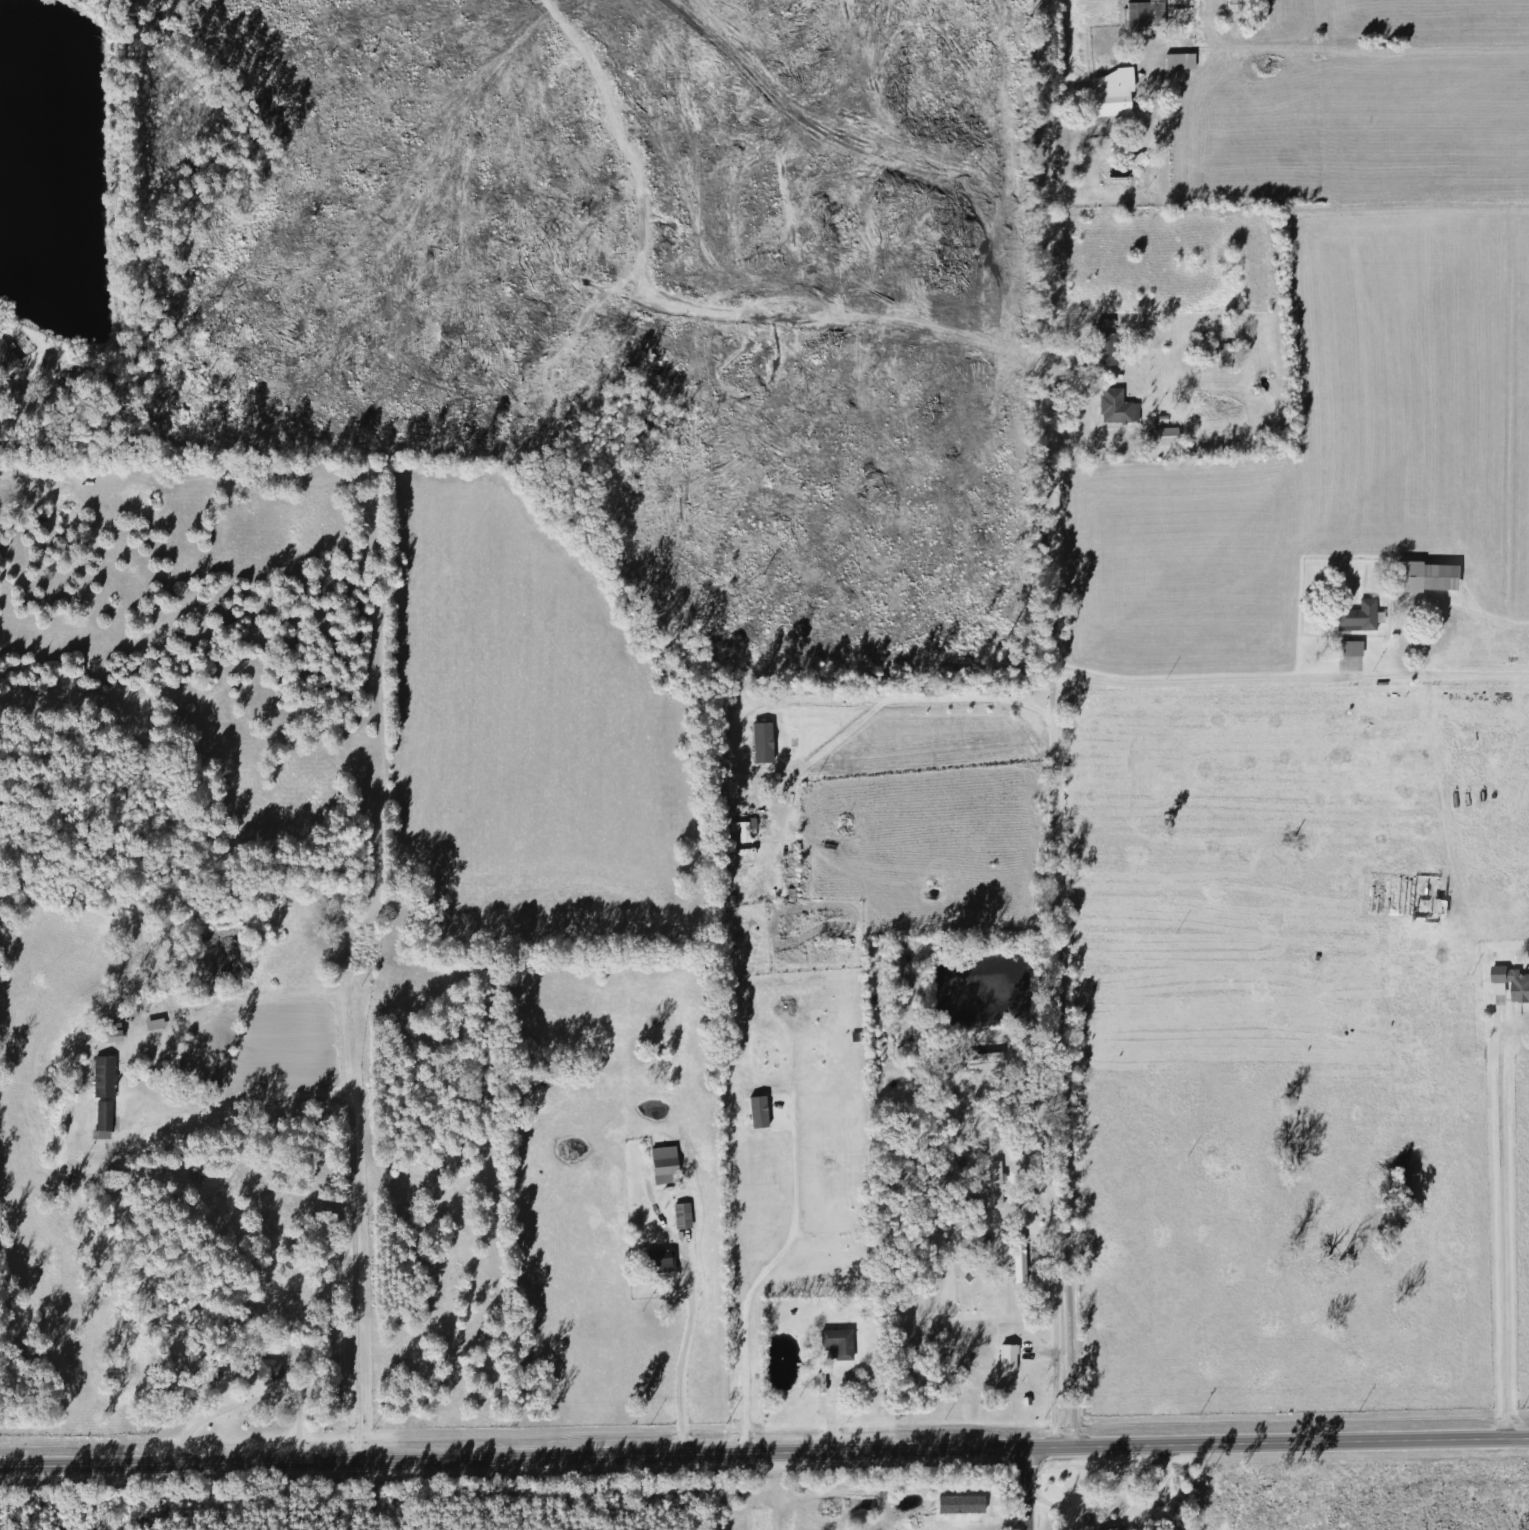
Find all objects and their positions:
building: (1138, 13)
building: (1179, 62)
building: (1111, 93)
building: (1101, 349)
building: (1223, 352)
building: (6, 359)
road: (19, 404)
building: (1116, 408)
building: (1163, 437)
building: (1425, 577)
building: (1357, 618)
building: (1349, 649)
road: (1208, 689)
road: (886, 704)
building: (761, 740)
road: (1064, 797)
building: (1512, 982)
building: (162, 1023)
building: (109, 1033)
building: (103, 1077)
building: (102, 1120)
building: (663, 1165)
building: (994, 1185)
road: (356, 1189)
building: (681, 1216)
road: (1500, 1249)
building: (657, 1261)
building: (1016, 1265)
road: (1054, 1318)
building: (836, 1343)
building: (257, 1347)
building: (1007, 1357)
road: (693, 1369)
building: (269, 1370)
building: (854, 1385)
road: (248, 1400)
road: (764, 1451)
road: (1041, 1490)
building: (1112, 1529)

